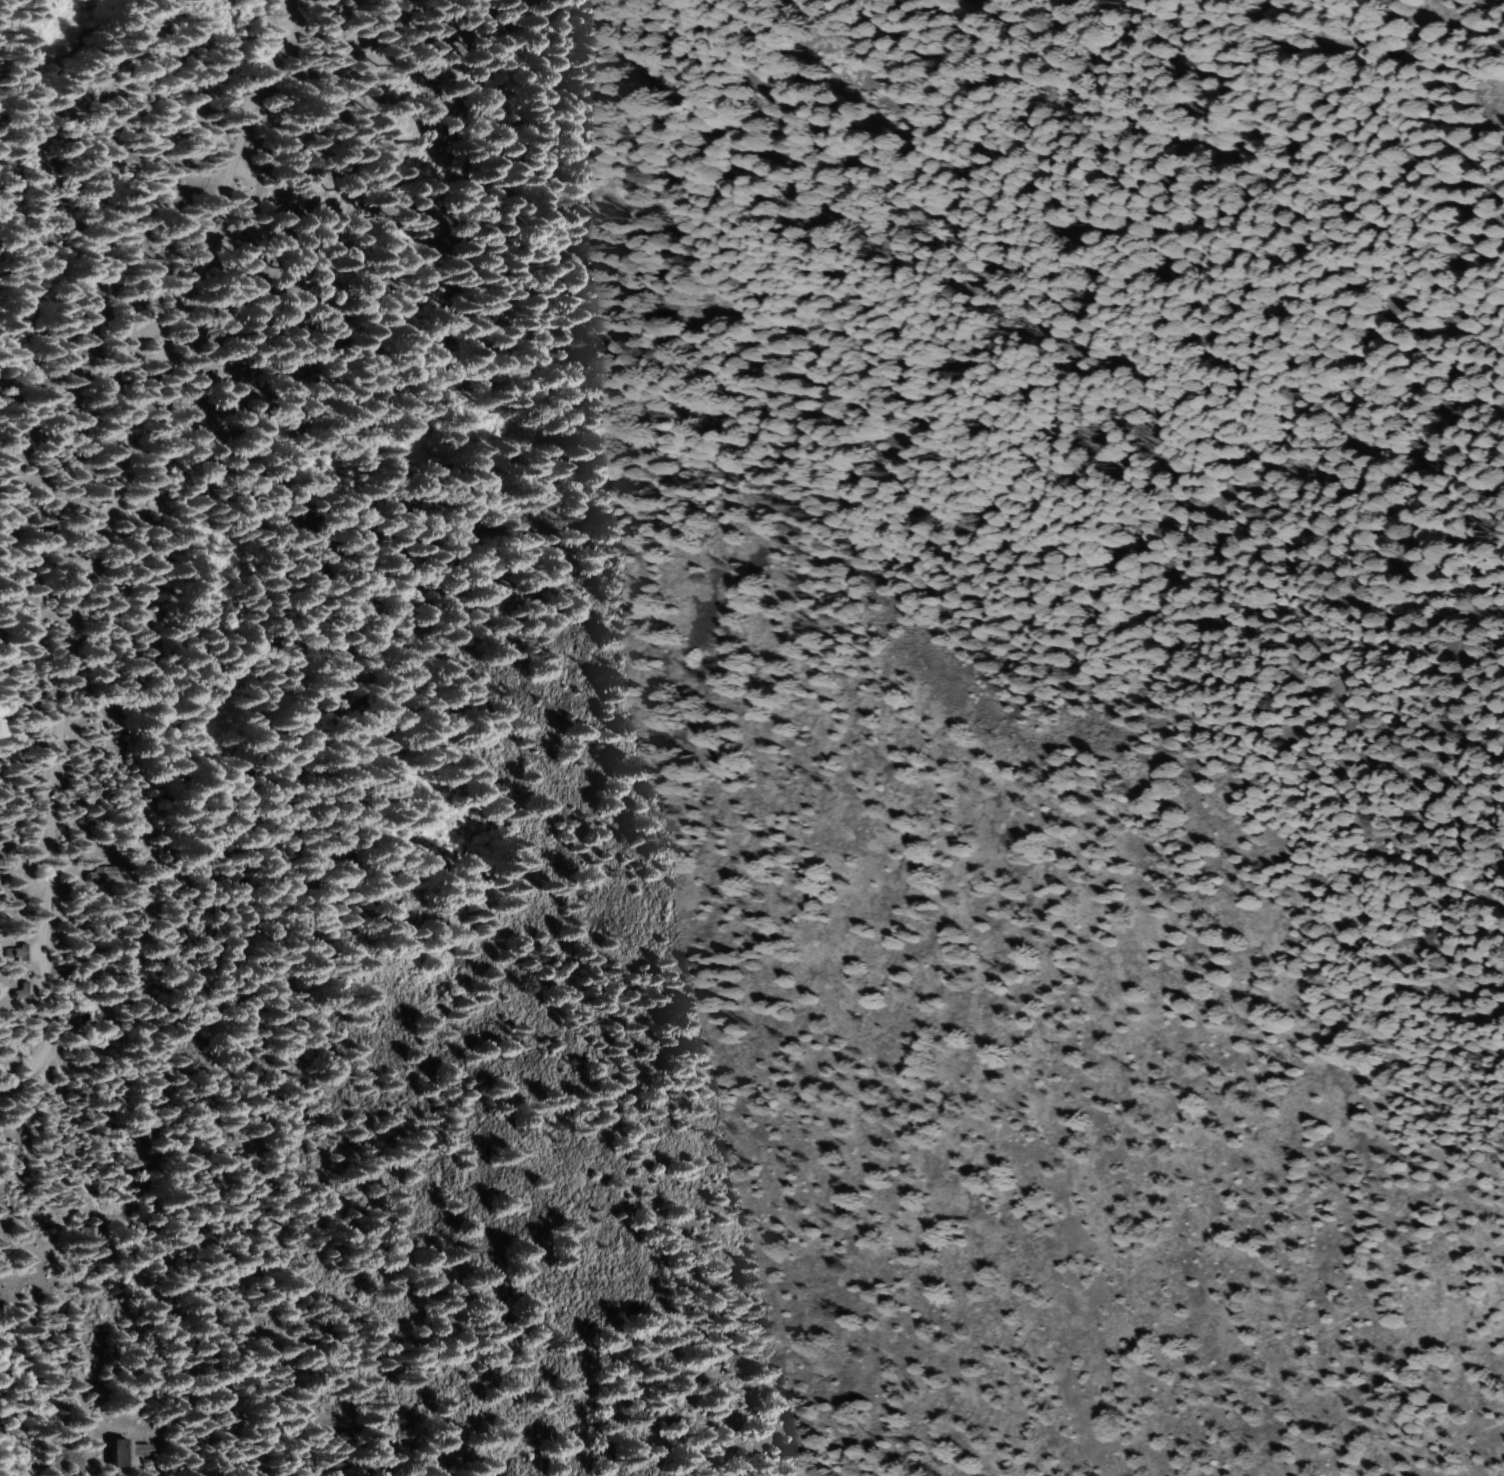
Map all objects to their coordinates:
road: (96, 374)
road: (96, 542)
building: (98, 875)
building: (16, 952)
building: (20, 991)
building: (82, 1235)
road: (63, 1368)
building: (115, 1451)

